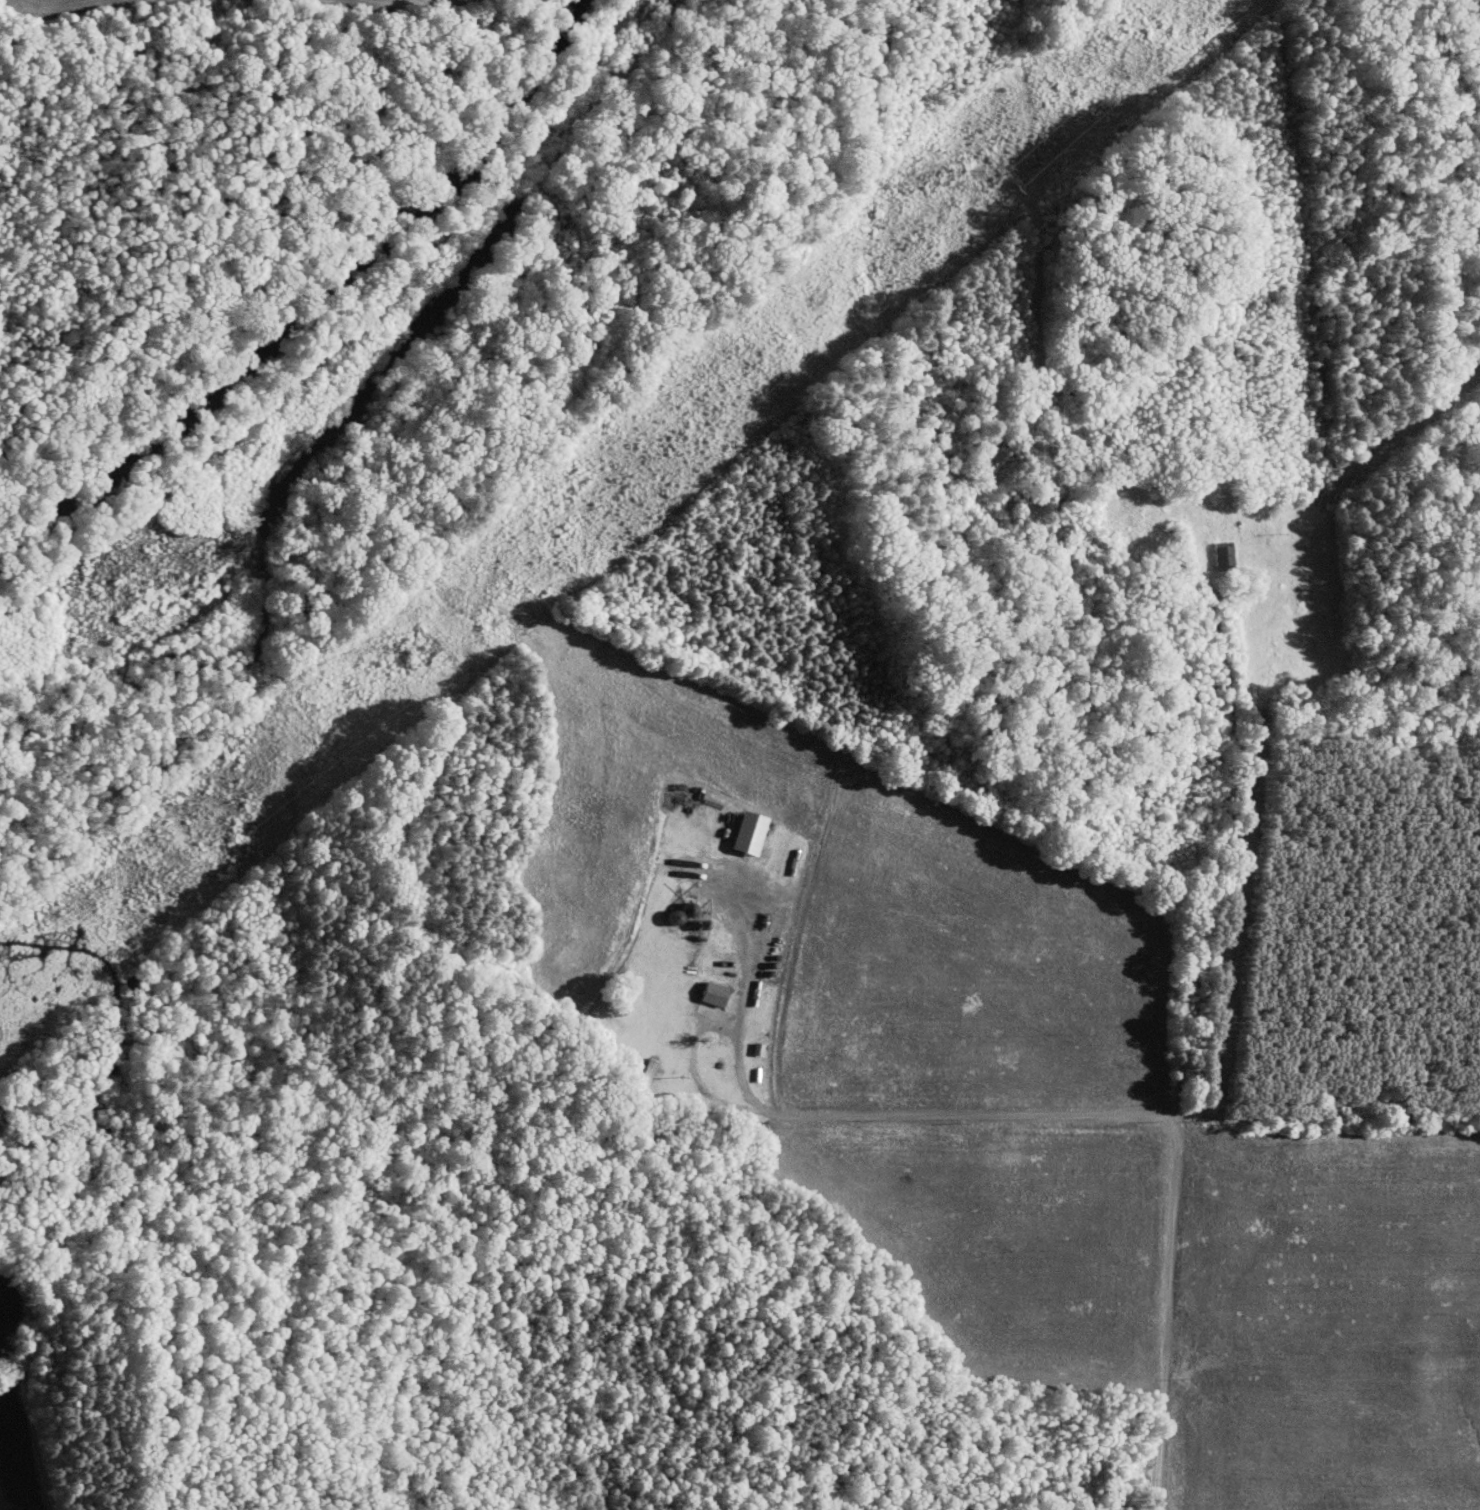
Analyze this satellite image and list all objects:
power tower: (985, 179)
building: (1219, 557)
power tower: (416, 661)
building: (755, 831)
building: (719, 993)
road: (1178, 1050)

